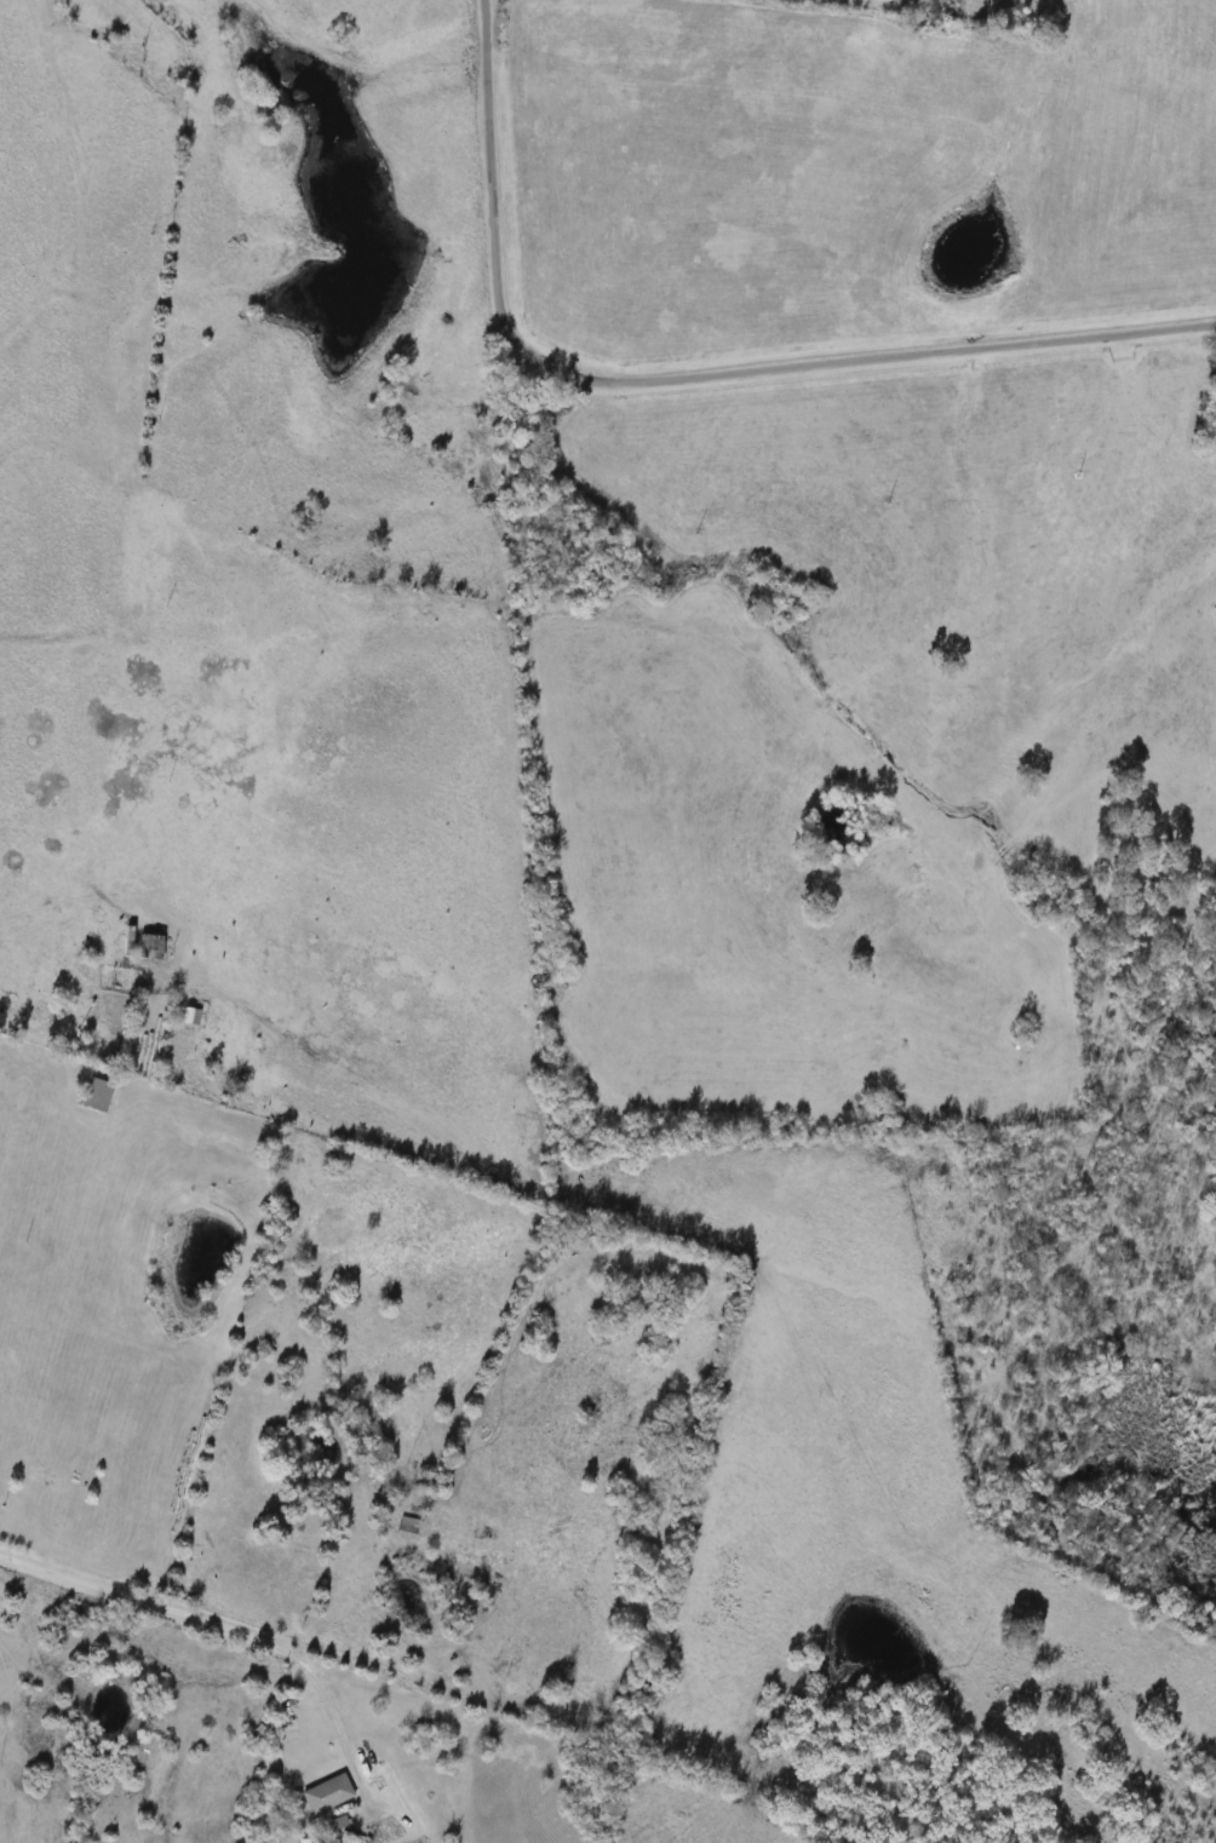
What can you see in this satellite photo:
road: (686, 378)
building: (151, 946)
building: (102, 1095)
building: (409, 1527)
road: (225, 1626)
building: (331, 1795)

